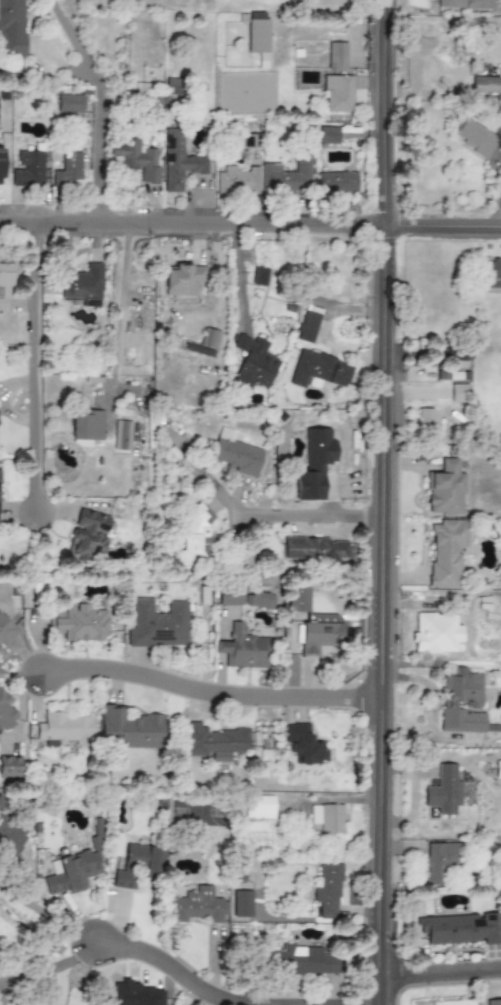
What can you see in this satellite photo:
building: (465, 4)
building: (14, 27)
building: (336, 56)
building: (486, 86)
building: (172, 87)
building: (338, 94)
building: (69, 104)
road: (97, 108)
building: (328, 136)
building: (473, 137)
building: (0, 152)
building: (136, 159)
building: (177, 161)
building: (28, 169)
building: (69, 169)
building: (289, 178)
building: (237, 181)
building: (337, 183)
road: (250, 229)
building: (492, 274)
building: (6, 275)
building: (259, 276)
road: (237, 278)
building: (183, 279)
building: (83, 285)
road: (119, 309)
building: (308, 326)
building: (209, 338)
building: (254, 363)
road: (34, 369)
building: (317, 369)
building: (460, 393)
building: (425, 419)
building: (0, 424)
building: (86, 428)
building: (122, 436)
building: (236, 454)
building: (314, 464)
building: (445, 490)
road: (385, 502)
road: (266, 514)
building: (89, 535)
building: (194, 535)
building: (314, 550)
building: (446, 552)
building: (230, 597)
building: (297, 599)
building: (259, 600)
building: (79, 623)
building: (157, 625)
building: (5, 630)
building: (320, 633)
building: (244, 649)
road: (215, 694)
building: (461, 702)
building: (5, 712)
building: (65, 728)
building: (130, 729)
building: (213, 742)
building: (303, 745)
building: (10, 766)
building: (498, 768)
building: (444, 791)
building: (259, 807)
building: (328, 820)
building: (441, 860)
building: (137, 865)
building: (72, 872)
building: (328, 891)
building: (242, 904)
building: (197, 906)
road: (48, 914)
building: (459, 929)
building: (306, 961)
road: (166, 966)
road: (49, 968)
road: (443, 976)
building: (493, 1002)

